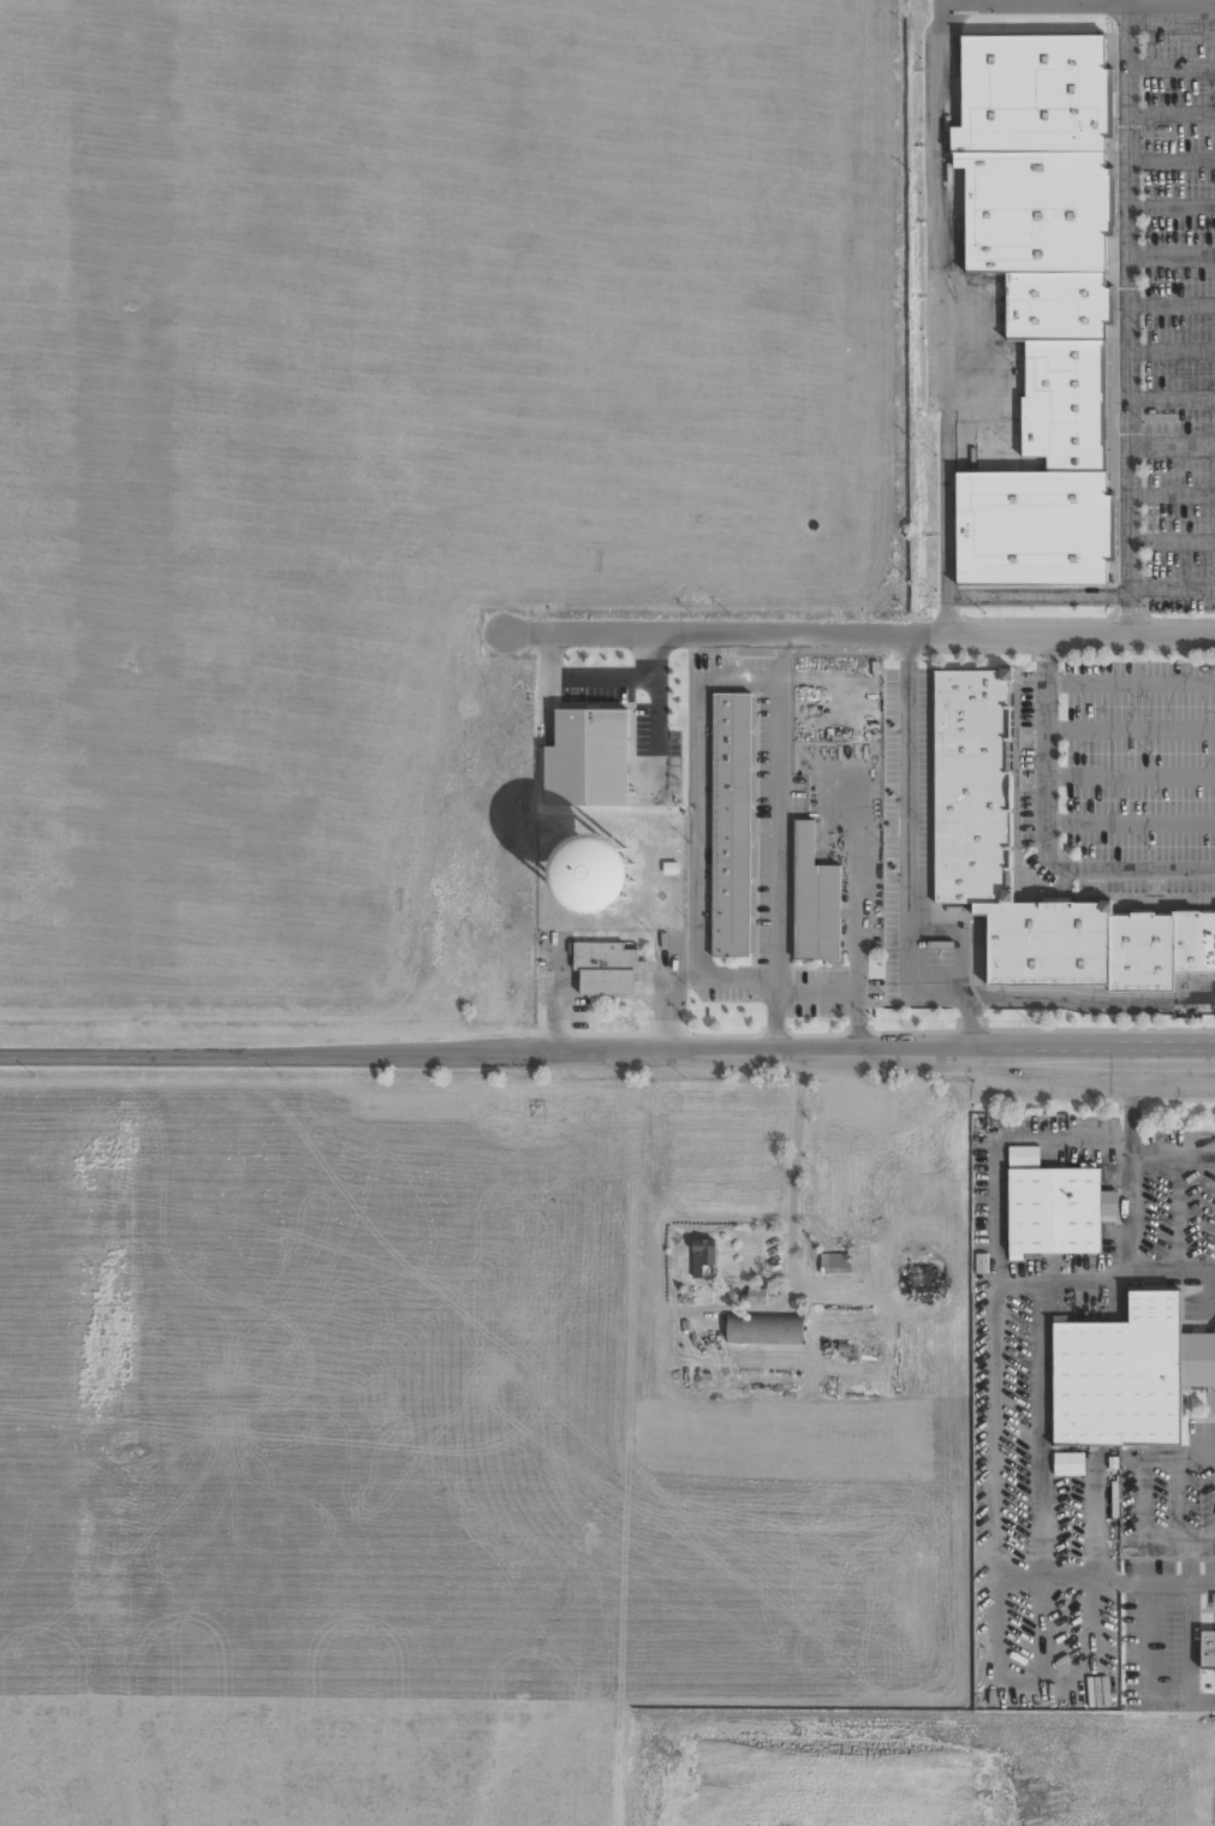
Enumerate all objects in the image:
road: (1076, 4)
road: (1171, 67)
building: (1030, 91)
road: (1171, 114)
road: (1171, 161)
road: (1171, 207)
building: (1031, 209)
road: (1171, 257)
building: (1054, 305)
road: (1171, 305)
road: (941, 316)
road: (1126, 317)
road: (1171, 351)
road: (1171, 398)
building: (1059, 402)
road: (1171, 445)
road: (1171, 495)
building: (1030, 527)
road: (1171, 541)
road: (1171, 587)
road: (1036, 596)
road: (857, 634)
road: (907, 647)
building: (601, 762)
building: (971, 786)
road: (1130, 820)
building: (733, 823)
road: (1044, 831)
road: (907, 866)
building: (668, 867)
water tower: (595, 872)
water tower: (594, 874)
building: (814, 898)
road: (961, 929)
building: (1041, 945)
building: (1193, 945)
building: (1137, 954)
building: (603, 966)
road: (972, 1034)
road: (608, 1051)
building: (1054, 1211)
building: (702, 1257)
building: (835, 1262)
building: (917, 1278)
building: (756, 1296)
building: (764, 1328)
building: (1124, 1373)
building: (1068, 1463)
building: (1207, 1649)

